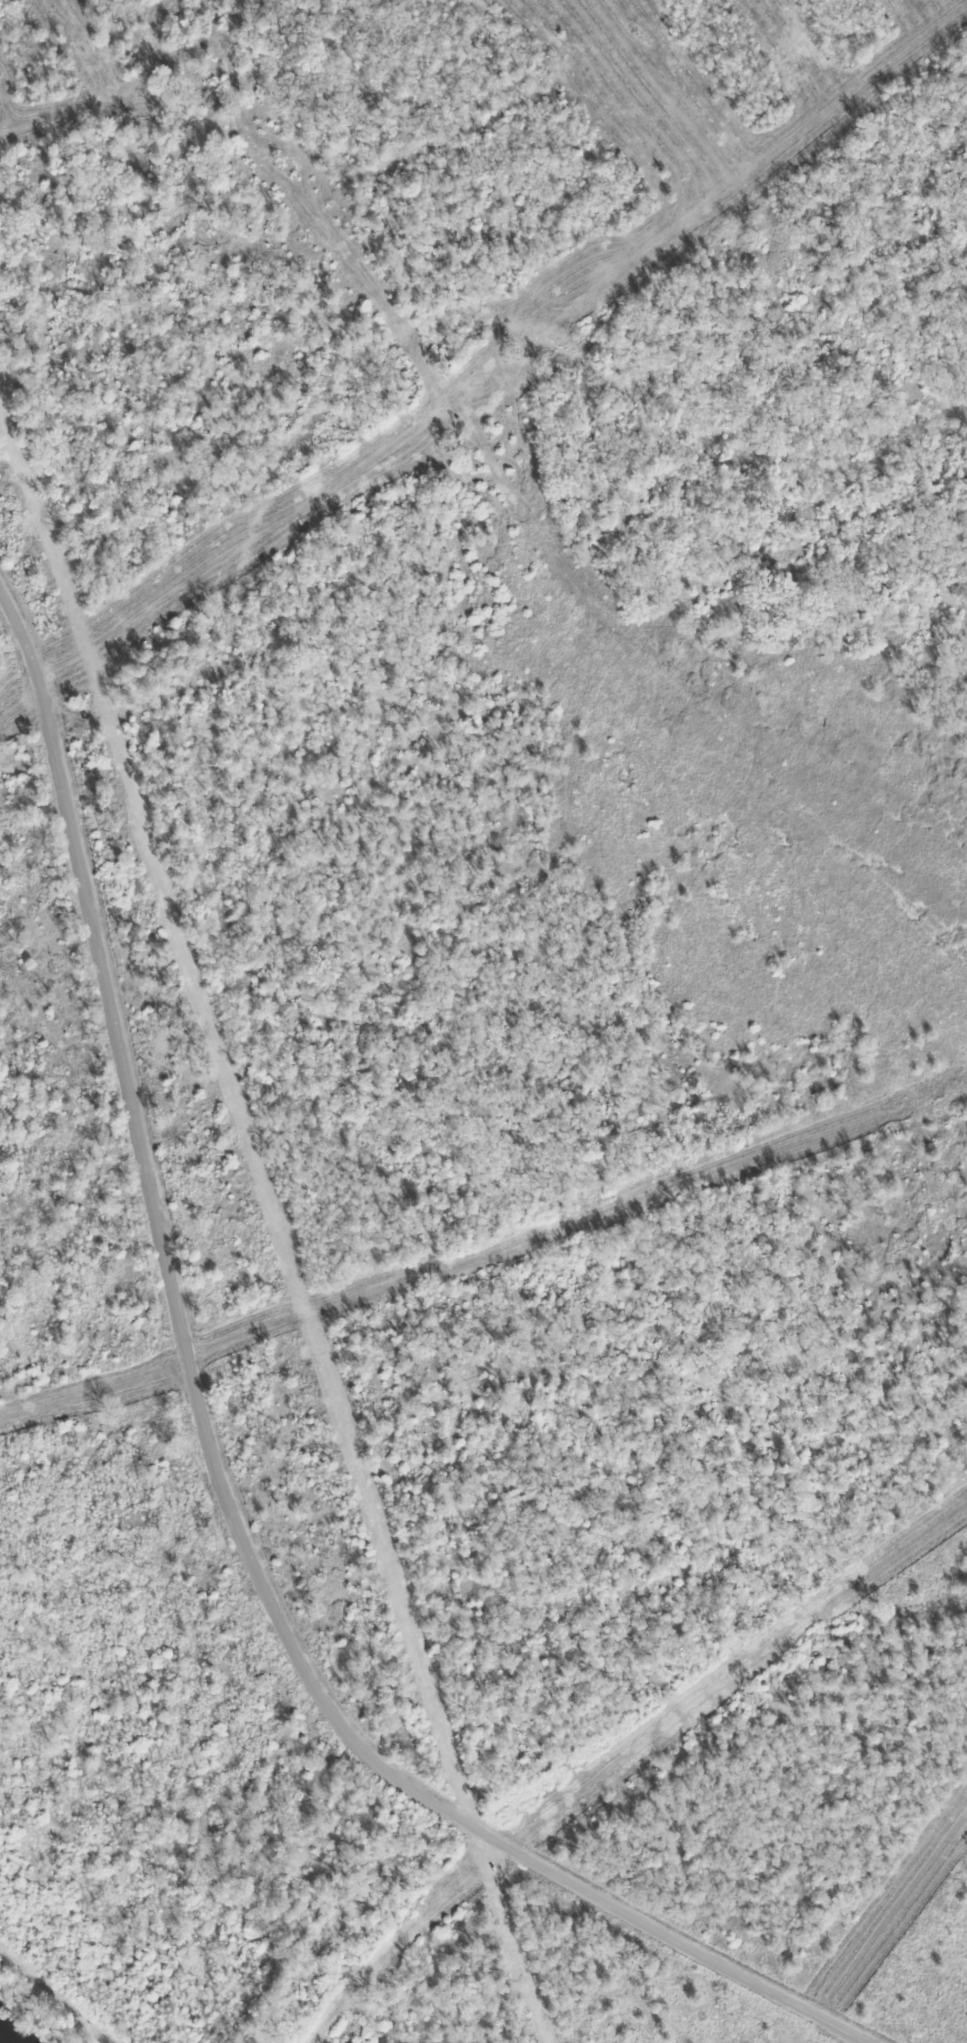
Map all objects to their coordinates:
road: (224, 1470)
road: (72, 1971)

